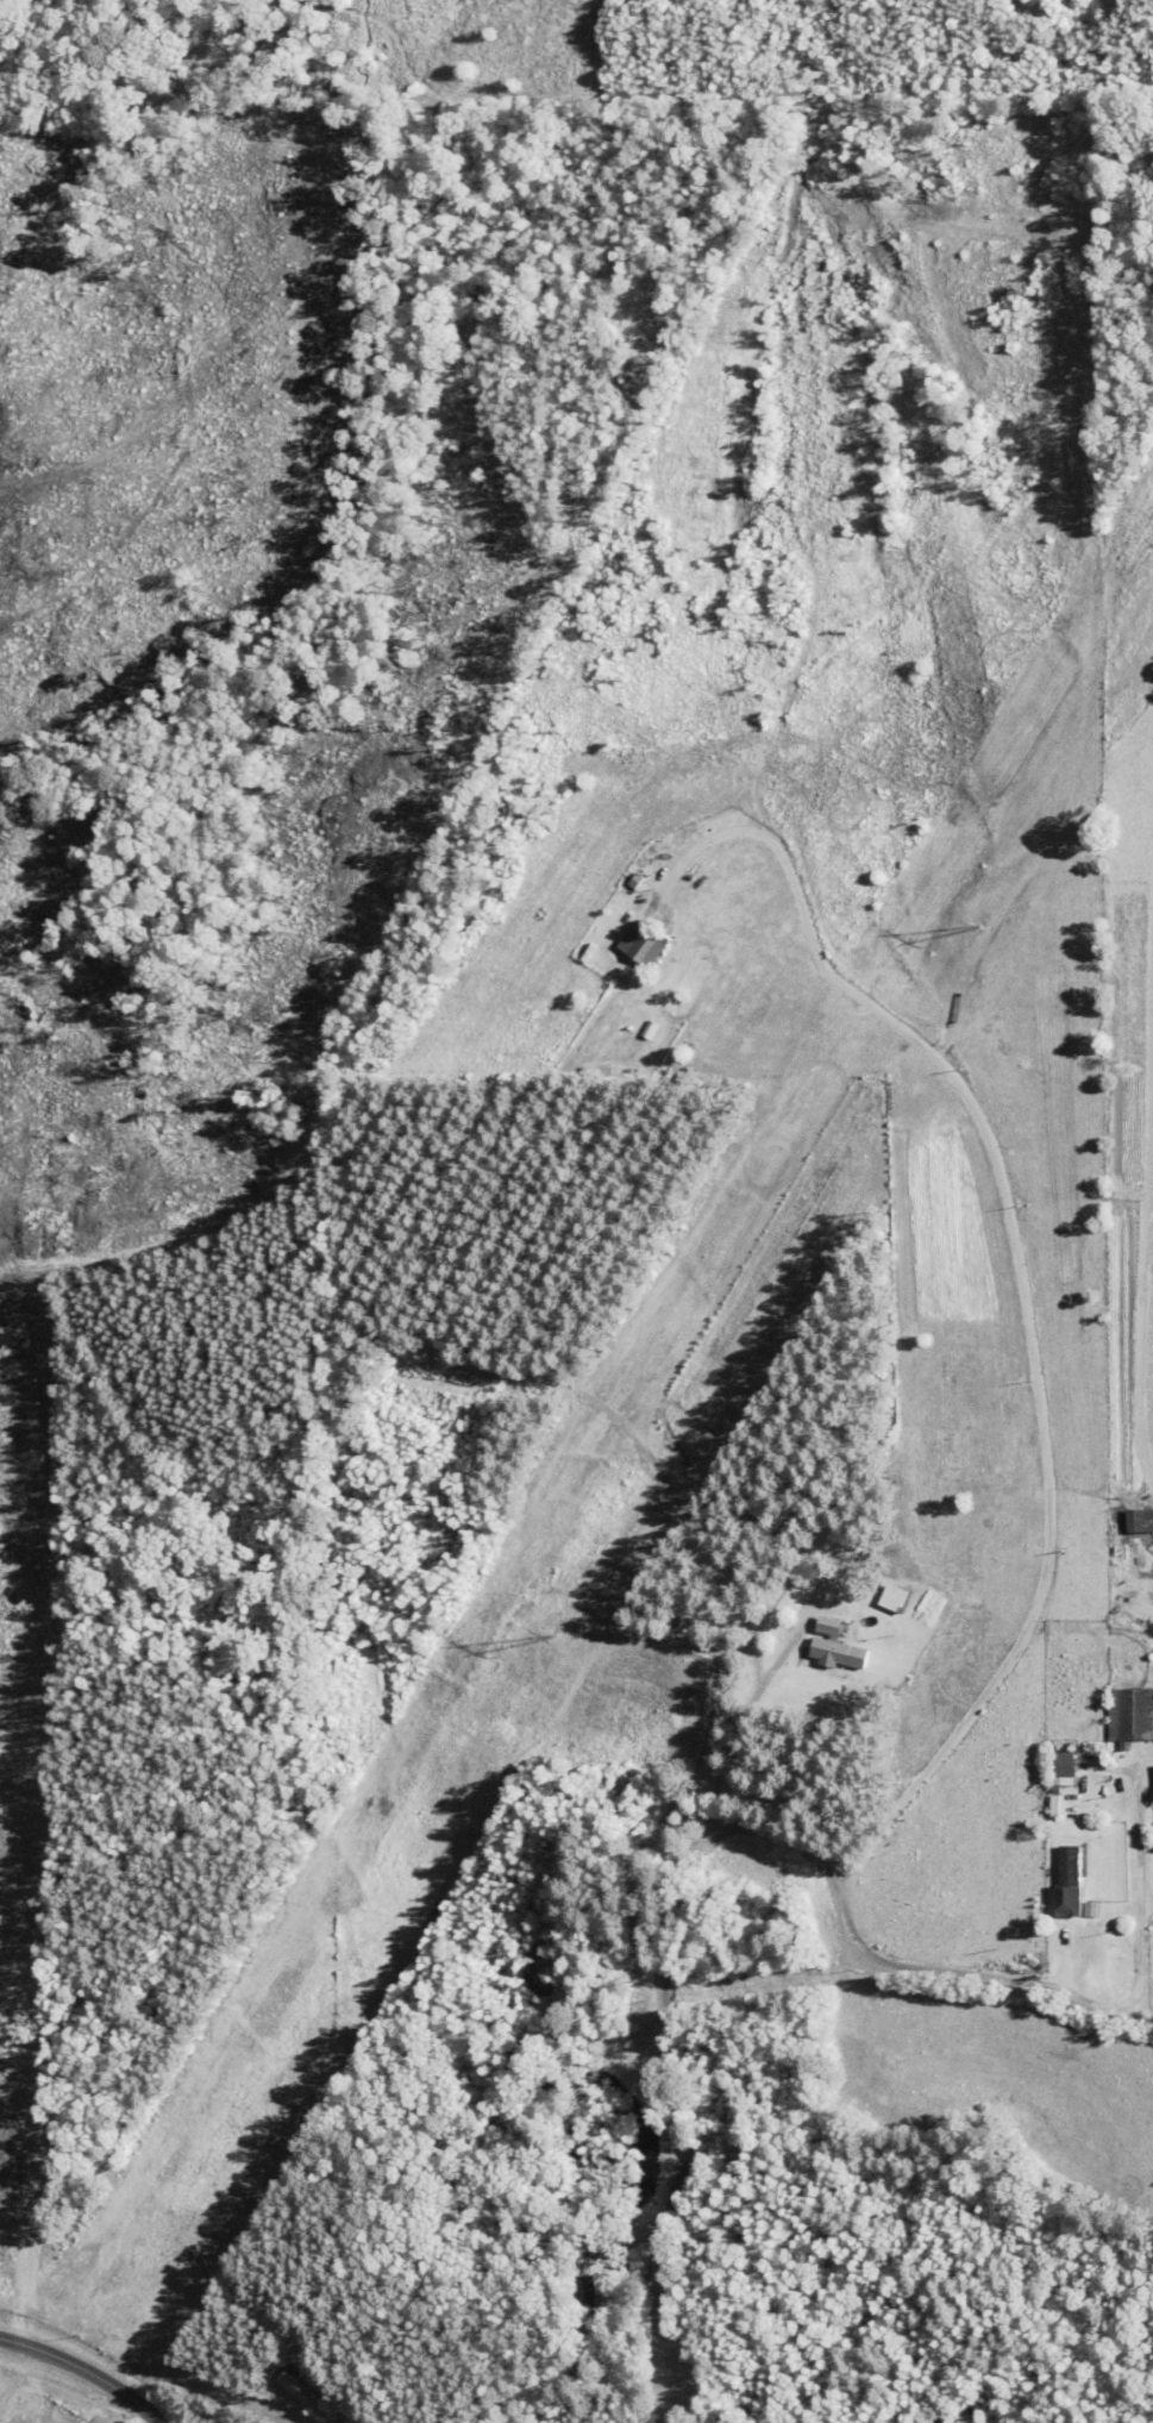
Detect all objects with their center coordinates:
power tower: (984, 926)
building: (645, 944)
raceway: (1151, 1379)
building: (1141, 1521)
building: (896, 1597)
power tower: (556, 1634)
building: (838, 1646)
building: (1132, 1713)
road: (744, 1723)
building: (1064, 1767)
road: (738, 1827)
building: (1070, 1884)
road: (84, 2369)
building: (302, 2393)

